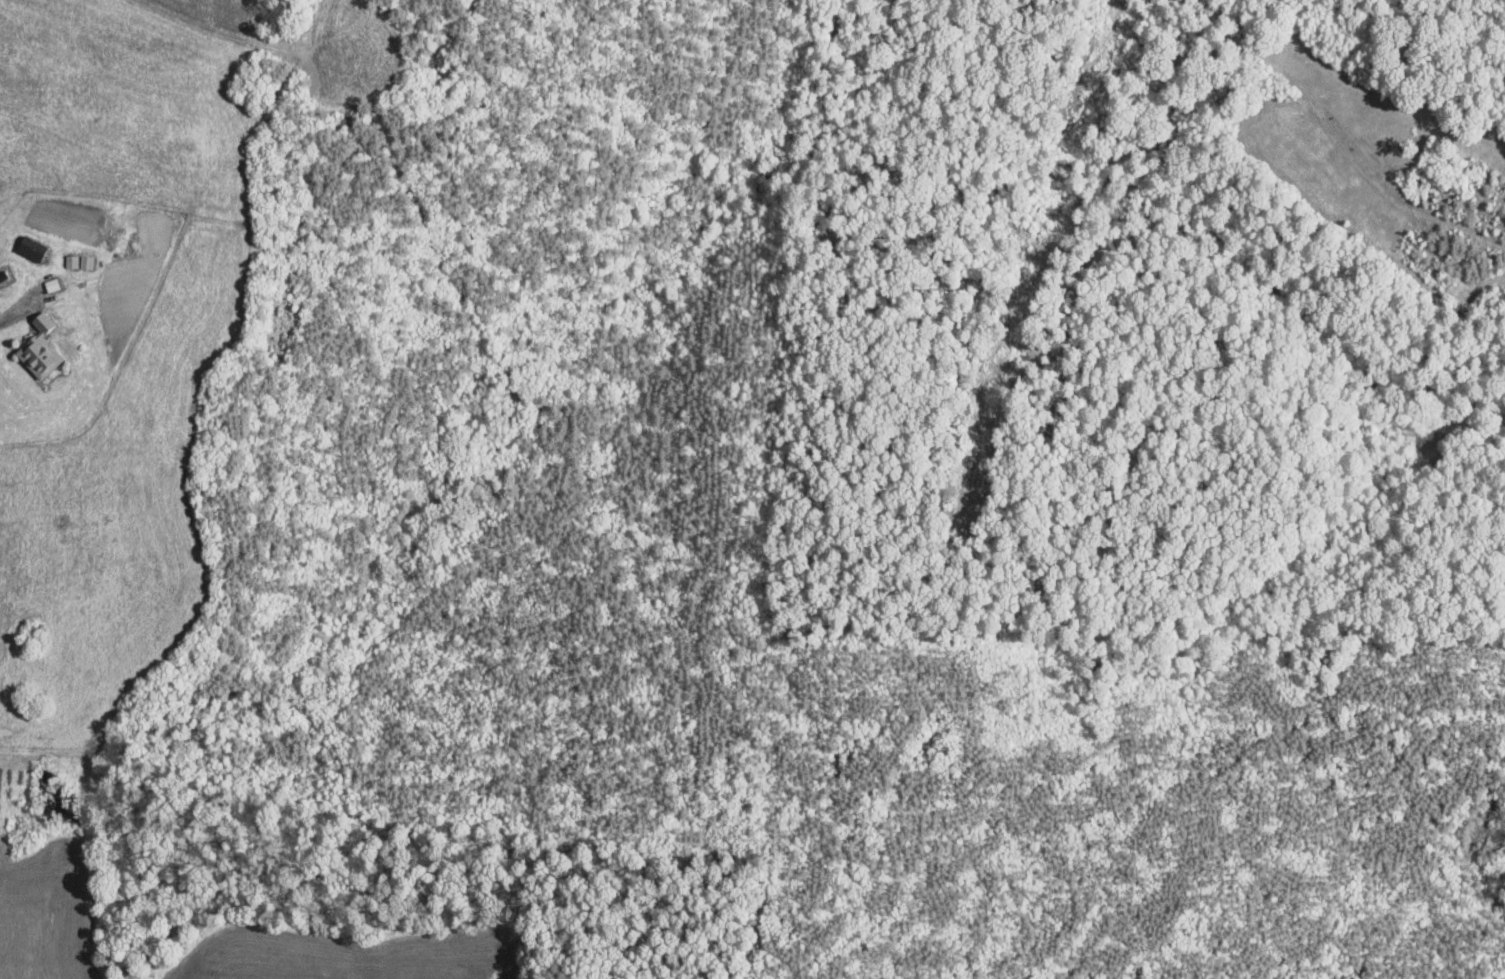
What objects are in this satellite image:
building: (29, 247)
road: (11, 313)

